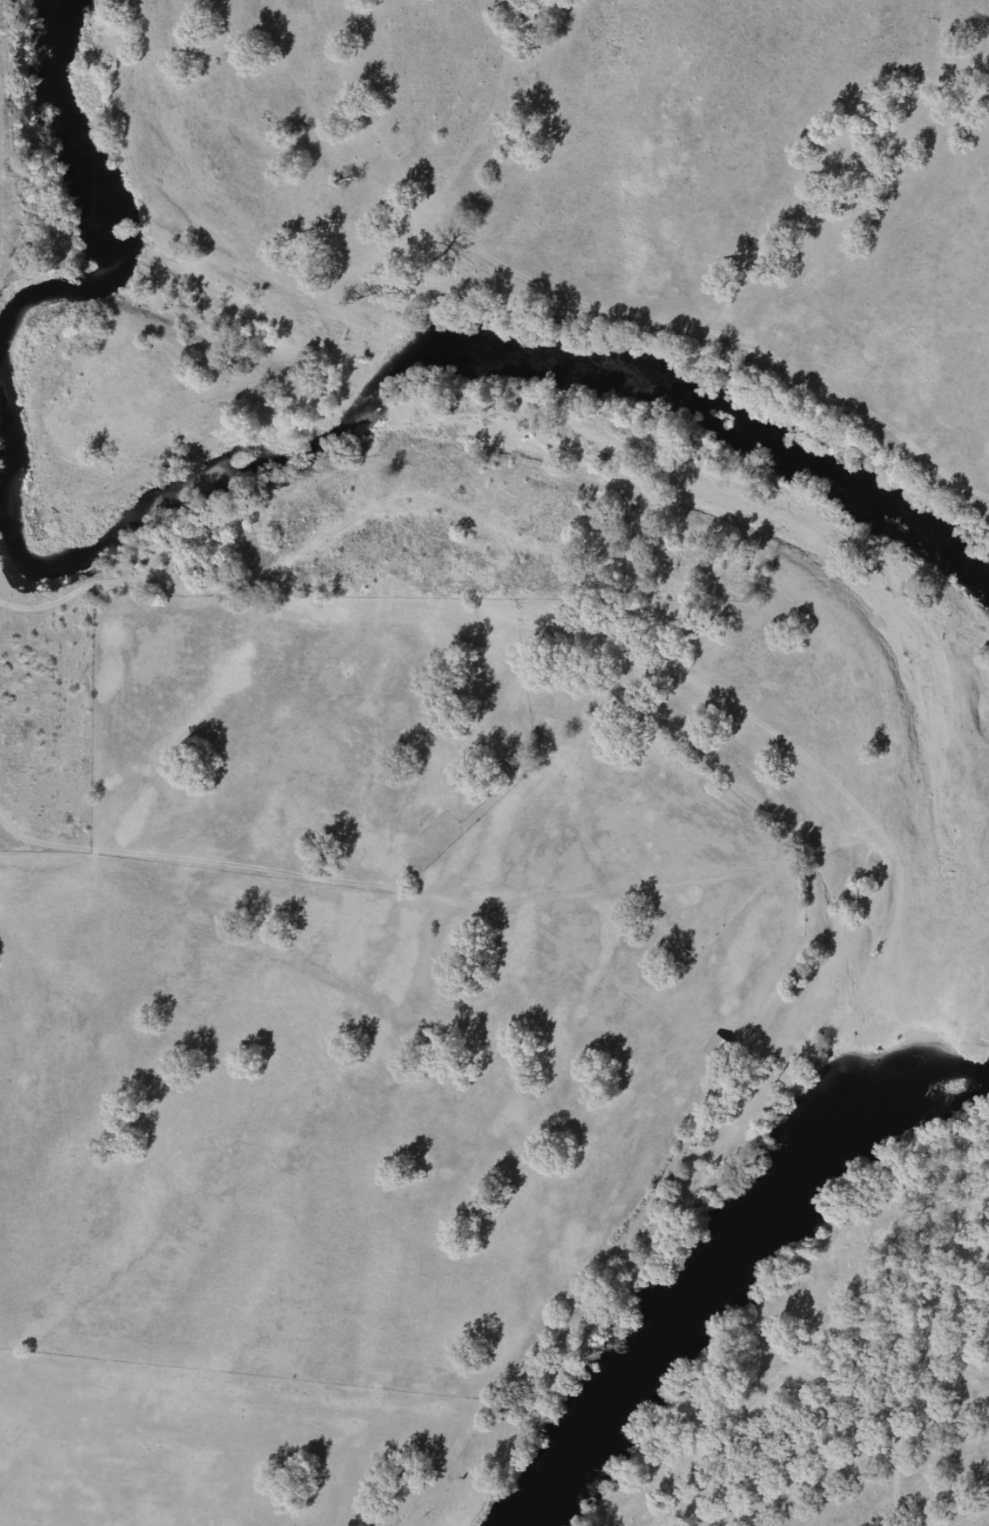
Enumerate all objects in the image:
river: (247, 485)
road: (301, 614)
building: (712, 1048)
river: (730, 1273)
road: (814, 1398)

